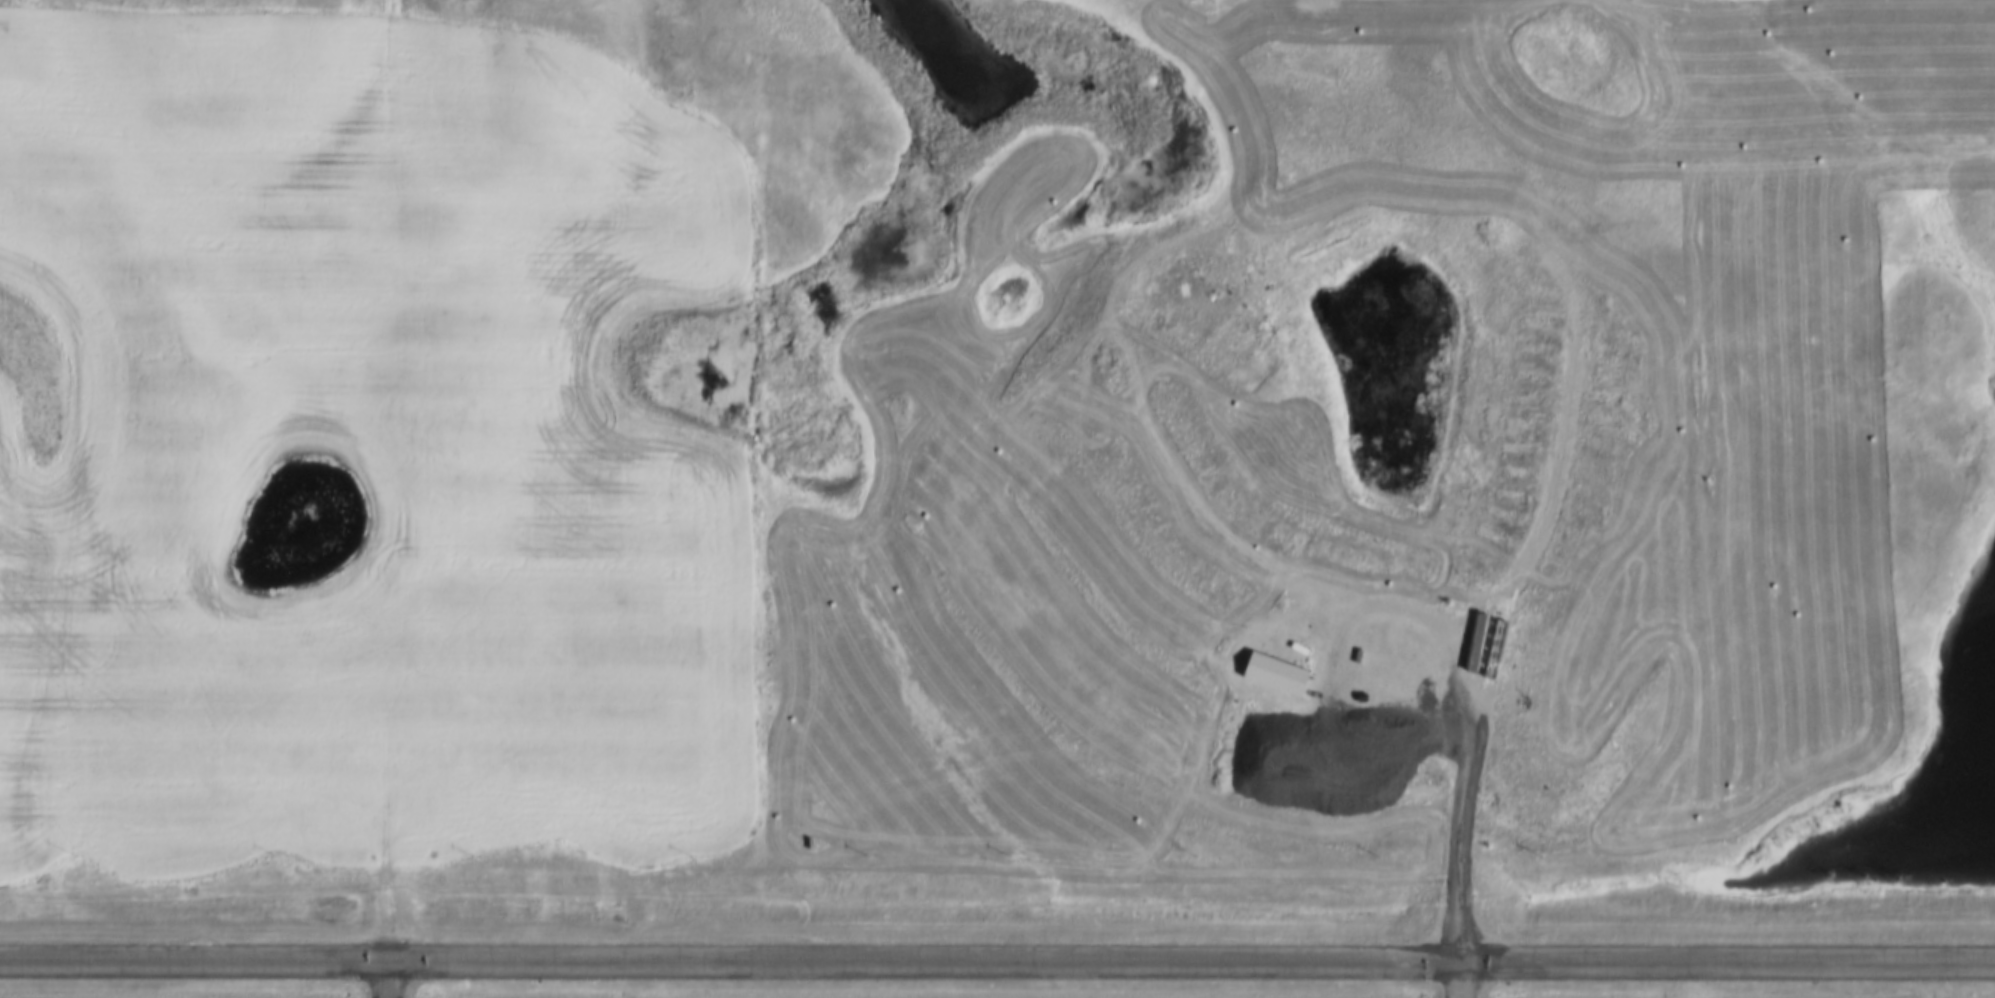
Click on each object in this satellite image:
road: (997, 966)

